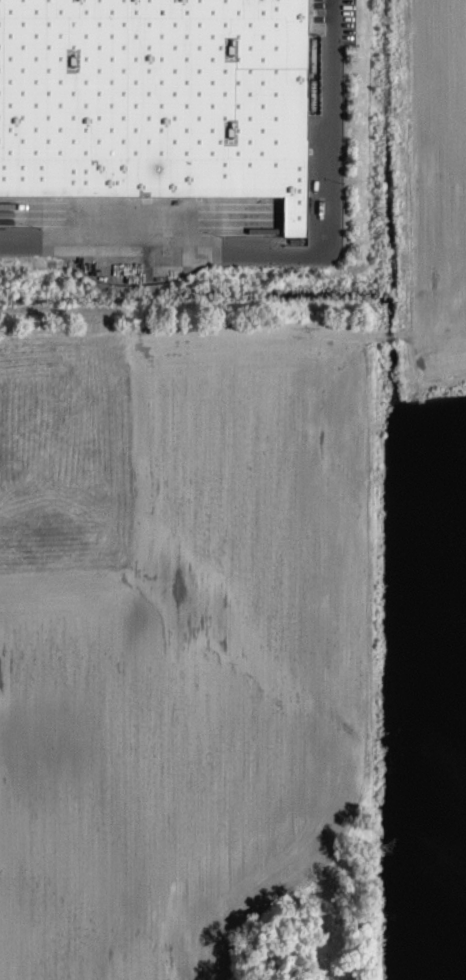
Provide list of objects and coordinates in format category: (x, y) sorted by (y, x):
building: (315, 51)
building: (156, 98)
road: (289, 248)

